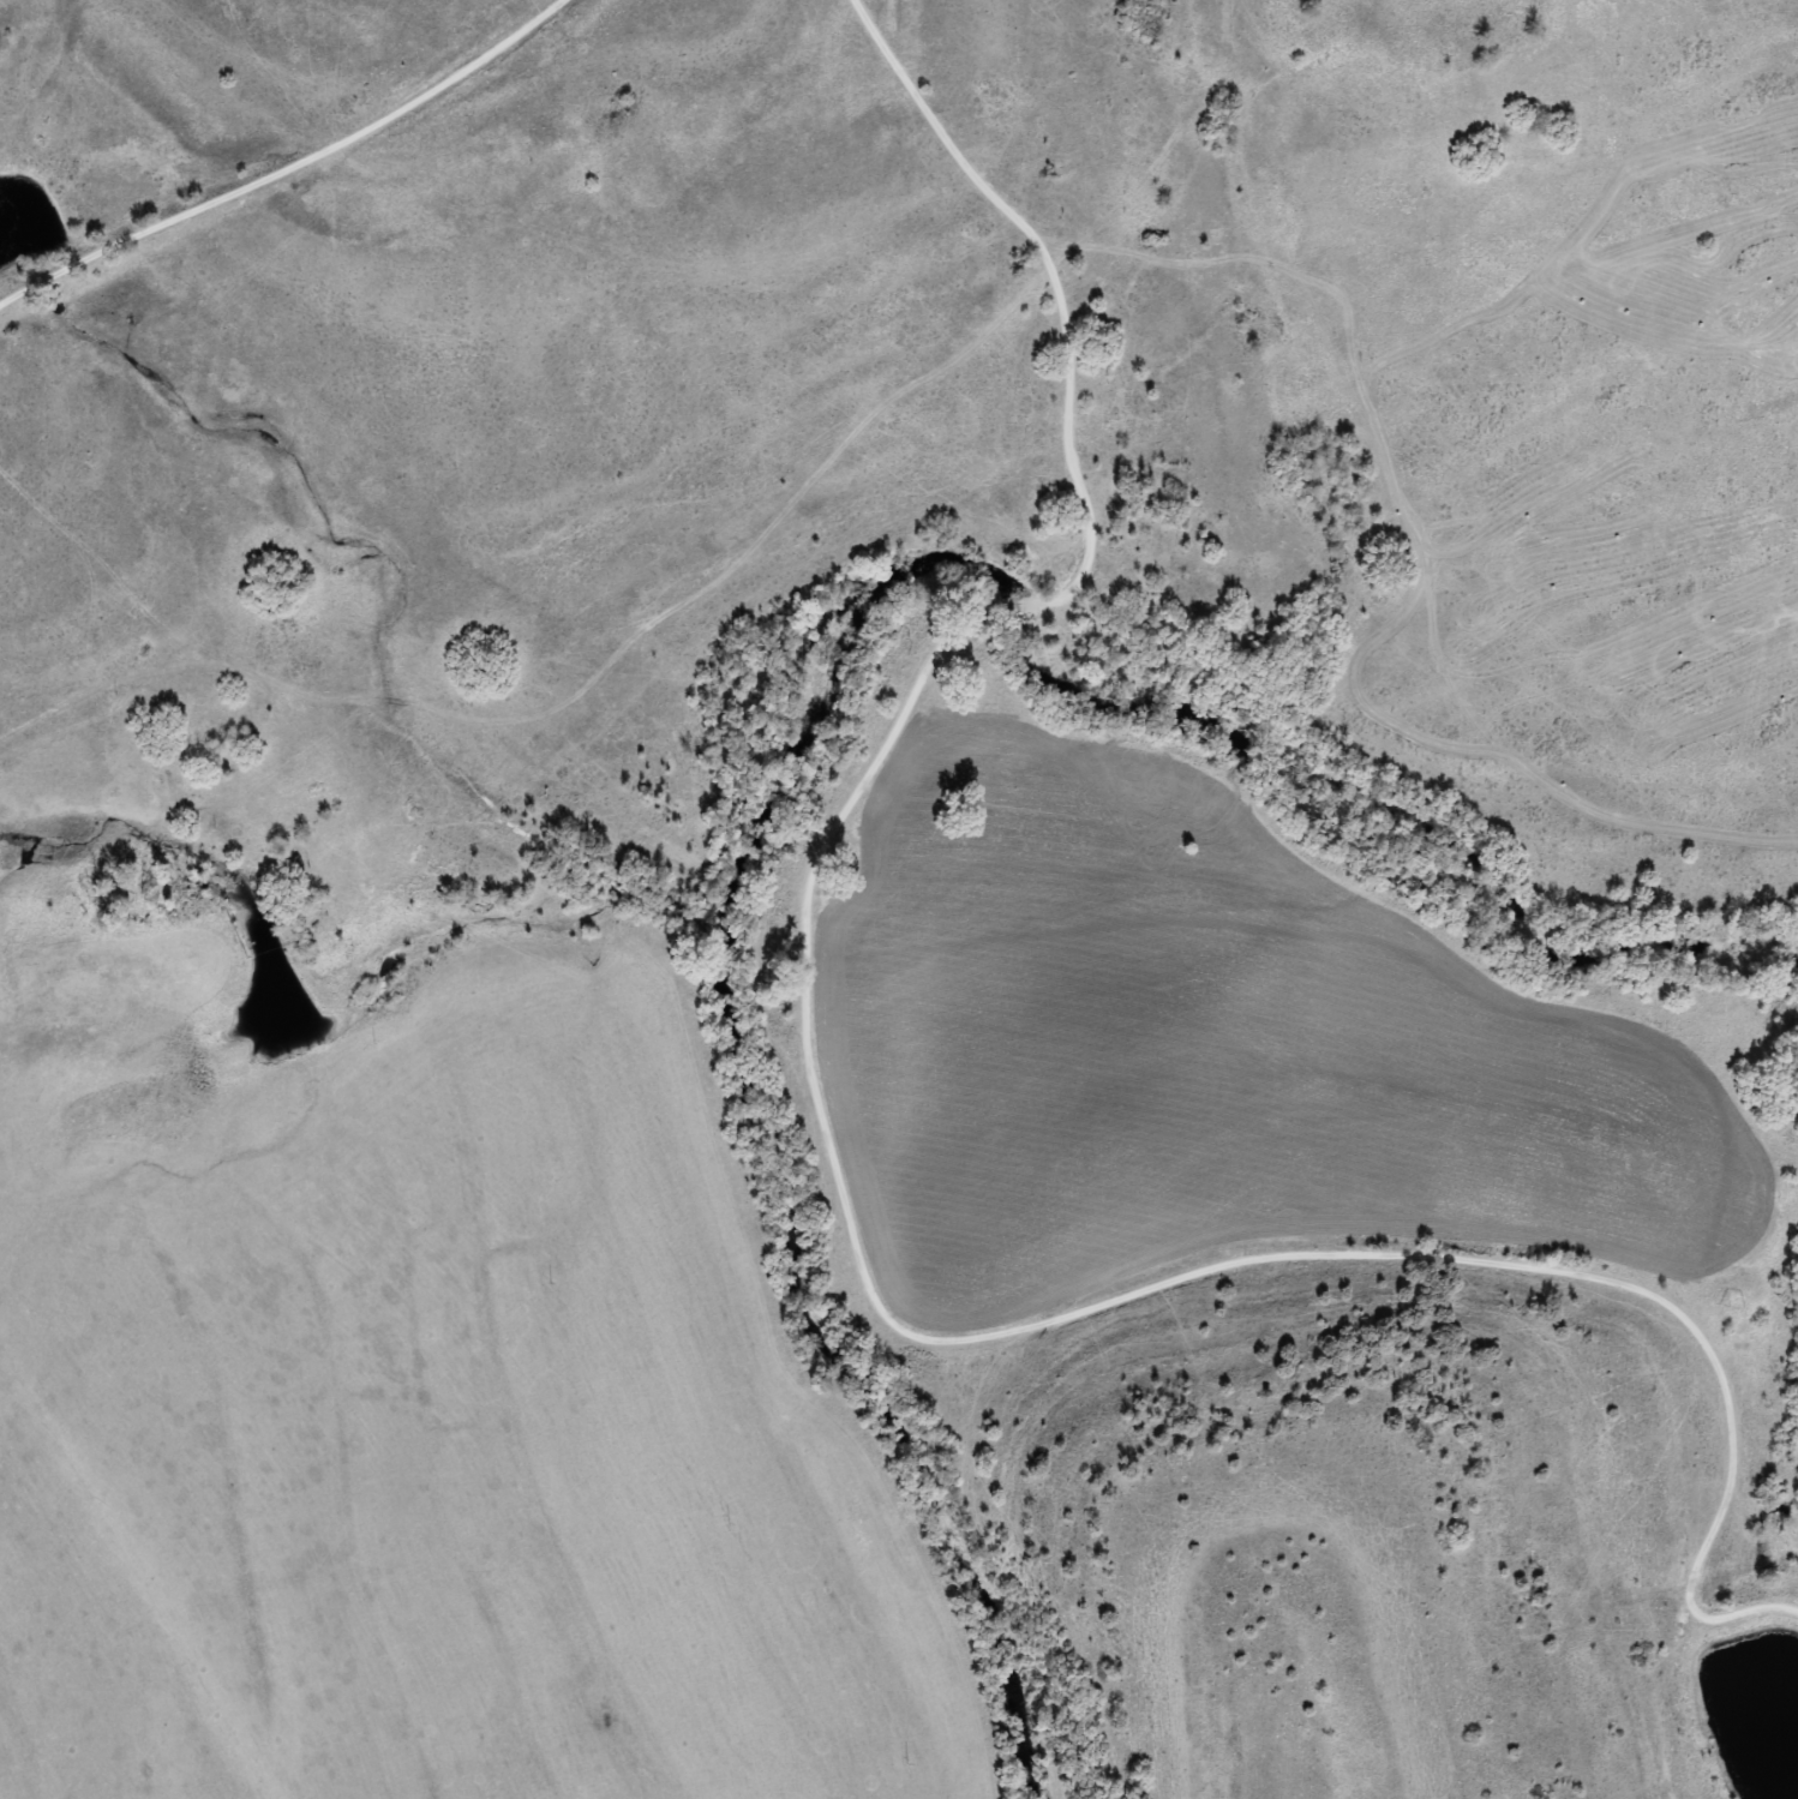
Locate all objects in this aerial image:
railway: (294, 173)
road: (775, 518)
building: (286, 870)

